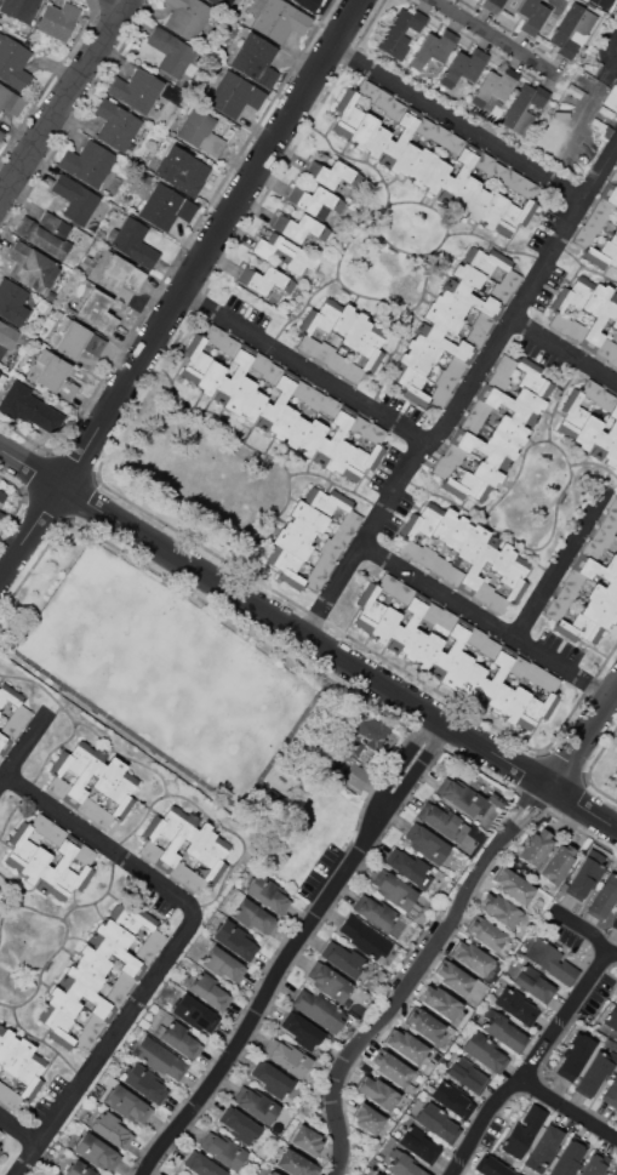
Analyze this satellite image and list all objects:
building: (221, 2)
building: (308, 4)
building: (493, 4)
building: (19, 8)
building: (531, 13)
building: (187, 17)
building: (58, 21)
building: (280, 21)
building: (572, 28)
building: (400, 33)
road: (487, 34)
building: (433, 49)
building: (172, 55)
building: (256, 59)
building: (13, 63)
road: (615, 65)
building: (464, 67)
building: (495, 85)
building: (137, 90)
building: (366, 90)
building: (234, 96)
building: (382, 99)
building: (10, 101)
road: (67, 102)
building: (522, 108)
building: (395, 109)
building: (606, 109)
building: (347, 114)
building: (116, 125)
road: (461, 126)
building: (423, 127)
building: (362, 130)
building: (200, 132)
building: (439, 133)
building: (1, 135)
building: (399, 136)
building: (376, 141)
building: (453, 143)
building: (402, 159)
building: (484, 161)
building: (87, 162)
building: (421, 166)
building: (459, 169)
building: (182, 171)
building: (496, 171)
building: (333, 175)
building: (435, 175)
building: (512, 178)
building: (613, 178)
building: (529, 187)
building: (609, 193)
building: (463, 194)
building: (75, 199)
building: (314, 201)
building: (476, 204)
building: (166, 207)
building: (604, 207)
building: (492, 210)
building: (514, 216)
building: (594, 222)
building: (301, 228)
building: (45, 233)
building: (583, 236)
building: (613, 236)
building: (133, 243)
building: (285, 255)
building: (601, 255)
building: (486, 261)
building: (30, 266)
building: (116, 272)
building: (468, 275)
building: (509, 279)
building: (264, 280)
road: (185, 292)
building: (498, 292)
building: (573, 293)
building: (50, 295)
building: (473, 297)
building: (596, 298)
building: (12, 302)
building: (450, 303)
building: (97, 310)
building: (57, 314)
building: (320, 316)
building: (442, 318)
building: (343, 319)
building: (481, 321)
building: (560, 323)
building: (599, 323)
building: (615, 323)
building: (576, 330)
building: (355, 331)
building: (215, 335)
building: (7, 336)
building: (74, 338)
building: (474, 338)
building: (23, 340)
building: (445, 342)
building: (228, 346)
building: (308, 346)
building: (371, 347)
building: (606, 347)
building: (423, 348)
building: (325, 352)
road: (566, 352)
building: (195, 358)
building: (613, 358)
building: (415, 361)
building: (259, 363)
building: (337, 363)
building: (504, 365)
building: (455, 366)
road: (309, 370)
building: (234, 372)
building: (353, 372)
building: (272, 373)
building: (52, 375)
building: (1, 377)
building: (210, 377)
building: (533, 378)
building: (446, 380)
building: (497, 382)
building: (411, 384)
building: (301, 389)
building: (592, 389)
building: (241, 392)
road: (467, 395)
building: (439, 397)
building: (276, 399)
building: (314, 399)
building: (529, 400)
building: (606, 400)
building: (253, 404)
building: (507, 405)
building: (330, 406)
building: (29, 407)
building: (479, 410)
building: (572, 413)
building: (282, 420)
building: (470, 424)
building: (359, 426)
building: (510, 428)
building: (296, 429)
building: (375, 433)
building: (587, 433)
building: (335, 434)
building: (312, 437)
building: (604, 438)
building: (502, 444)
building: (481, 450)
building: (453, 454)
building: (611, 454)
building: (339, 456)
road: (30, 462)
building: (362, 462)
building: (616, 464)
building: (442, 467)
building: (486, 474)
building: (467, 487)
building: (2, 497)
building: (326, 501)
building: (613, 507)
building: (1, 517)
building: (309, 517)
building: (350, 520)
building: (422, 521)
building: (609, 523)
building: (444, 524)
building: (299, 530)
building: (457, 535)
building: (341, 536)
building: (602, 537)
building: (472, 543)
building: (291, 544)
building: (330, 548)
building: (409, 549)
building: (592, 551)
building: (425, 555)
building: (501, 559)
building: (324, 564)
building: (611, 564)
building: (439, 565)
building: (478, 565)
building: (286, 566)
building: (595, 572)
road: (2, 574)
building: (452, 576)
road: (558, 577)
building: (314, 578)
building: (515, 578)
building: (573, 580)
building: (388, 584)
building: (482, 591)
building: (402, 594)
building: (566, 594)
building: (602, 599)
building: (496, 603)
building: (369, 608)
building: (555, 609)
building: (432, 612)
building: (596, 615)
building: (446, 620)
building: (407, 622)
road: (490, 622)
building: (384, 623)
building: (577, 629)
building: (475, 638)
building: (413, 644)
building: (453, 644)
building: (489, 648)
building: (429, 650)
road: (338, 654)
building: (518, 666)
building: (457, 669)
building: (532, 673)
building: (495, 675)
building: (472, 678)
building: (548, 681)
building: (10, 695)
building: (499, 697)
building: (514, 703)
building: (536, 709)
building: (19, 714)
building: (10, 729)
building: (364, 732)
road: (585, 742)
building: (4, 743)
road: (24, 753)
building: (0, 754)
building: (73, 759)
building: (616, 771)
building: (108, 775)
building: (355, 775)
building: (85, 777)
building: (57, 786)
building: (122, 793)
building: (462, 797)
building: (496, 800)
building: (87, 806)
building: (102, 817)
building: (444, 822)
building: (40, 823)
building: (165, 823)
building: (56, 833)
building: (178, 840)
building: (200, 840)
building: (425, 843)
road: (105, 845)
building: (21, 846)
building: (536, 846)
building: (150, 851)
building: (84, 854)
building: (215, 859)
building: (57, 862)
building: (558, 863)
building: (34, 865)
building: (410, 868)
building: (179, 872)
building: (585, 874)
building: (70, 882)
building: (194, 882)
building: (513, 885)
building: (393, 889)
building: (0, 891)
building: (268, 894)
building: (604, 897)
building: (499, 909)
building: (377, 913)
building: (253, 917)
building: (132, 918)
building: (615, 923)
road: (590, 931)
building: (114, 934)
building: (485, 934)
building: (364, 937)
building: (155, 940)
building: (235, 940)
road: (295, 947)
building: (144, 954)
building: (116, 956)
building: (472, 957)
building: (345, 959)
building: (92, 960)
building: (552, 960)
building: (223, 964)
road: (419, 974)
building: (379, 975)
building: (85, 976)
building: (453, 979)
building: (122, 982)
building: (330, 983)
building: (533, 983)
building: (208, 989)
building: (115, 996)
building: (86, 997)
building: (63, 1002)
building: (440, 1002)
building: (515, 1005)
building: (319, 1009)
building: (195, 1014)
building: (612, 1020)
building: (424, 1023)
building: (56, 1025)
building: (2, 1029)
building: (504, 1032)
building: (303, 1033)
building: (179, 1039)
building: (7, 1043)
road: (110, 1044)
building: (406, 1045)
building: (484, 1051)
building: (18, 1056)
building: (290, 1057)
building: (576, 1057)
building: (160, 1059)
building: (428, 1067)
road: (535, 1067)
building: (392, 1068)
building: (467, 1073)
building: (593, 1073)
building: (32, 1076)
building: (275, 1082)
building: (144, 1083)
building: (2, 1088)
building: (410, 1088)
building: (610, 1091)
building: (377, 1093)
building: (10, 1099)
building: (452, 1099)
building: (127, 1105)
building: (258, 1106)
road: (571, 1108)
building: (367, 1119)
building: (436, 1123)
road: (21, 1128)
building: (241, 1128)
building: (112, 1130)
building: (524, 1131)
building: (1, 1134)
building: (307, 1140)
building: (418, 1143)
building: (543, 1148)
building: (0, 1151)
building: (96, 1151)
building: (224, 1151)
building: (569, 1157)
building: (201, 1164)
building: (295, 1164)
building: (594, 1164)
building: (404, 1167)
building: (493, 1168)
building: (80, 1169)
building: (615, 1170)
building: (273, 1173)
building: (175, 1174)
building: (376, 1174)

